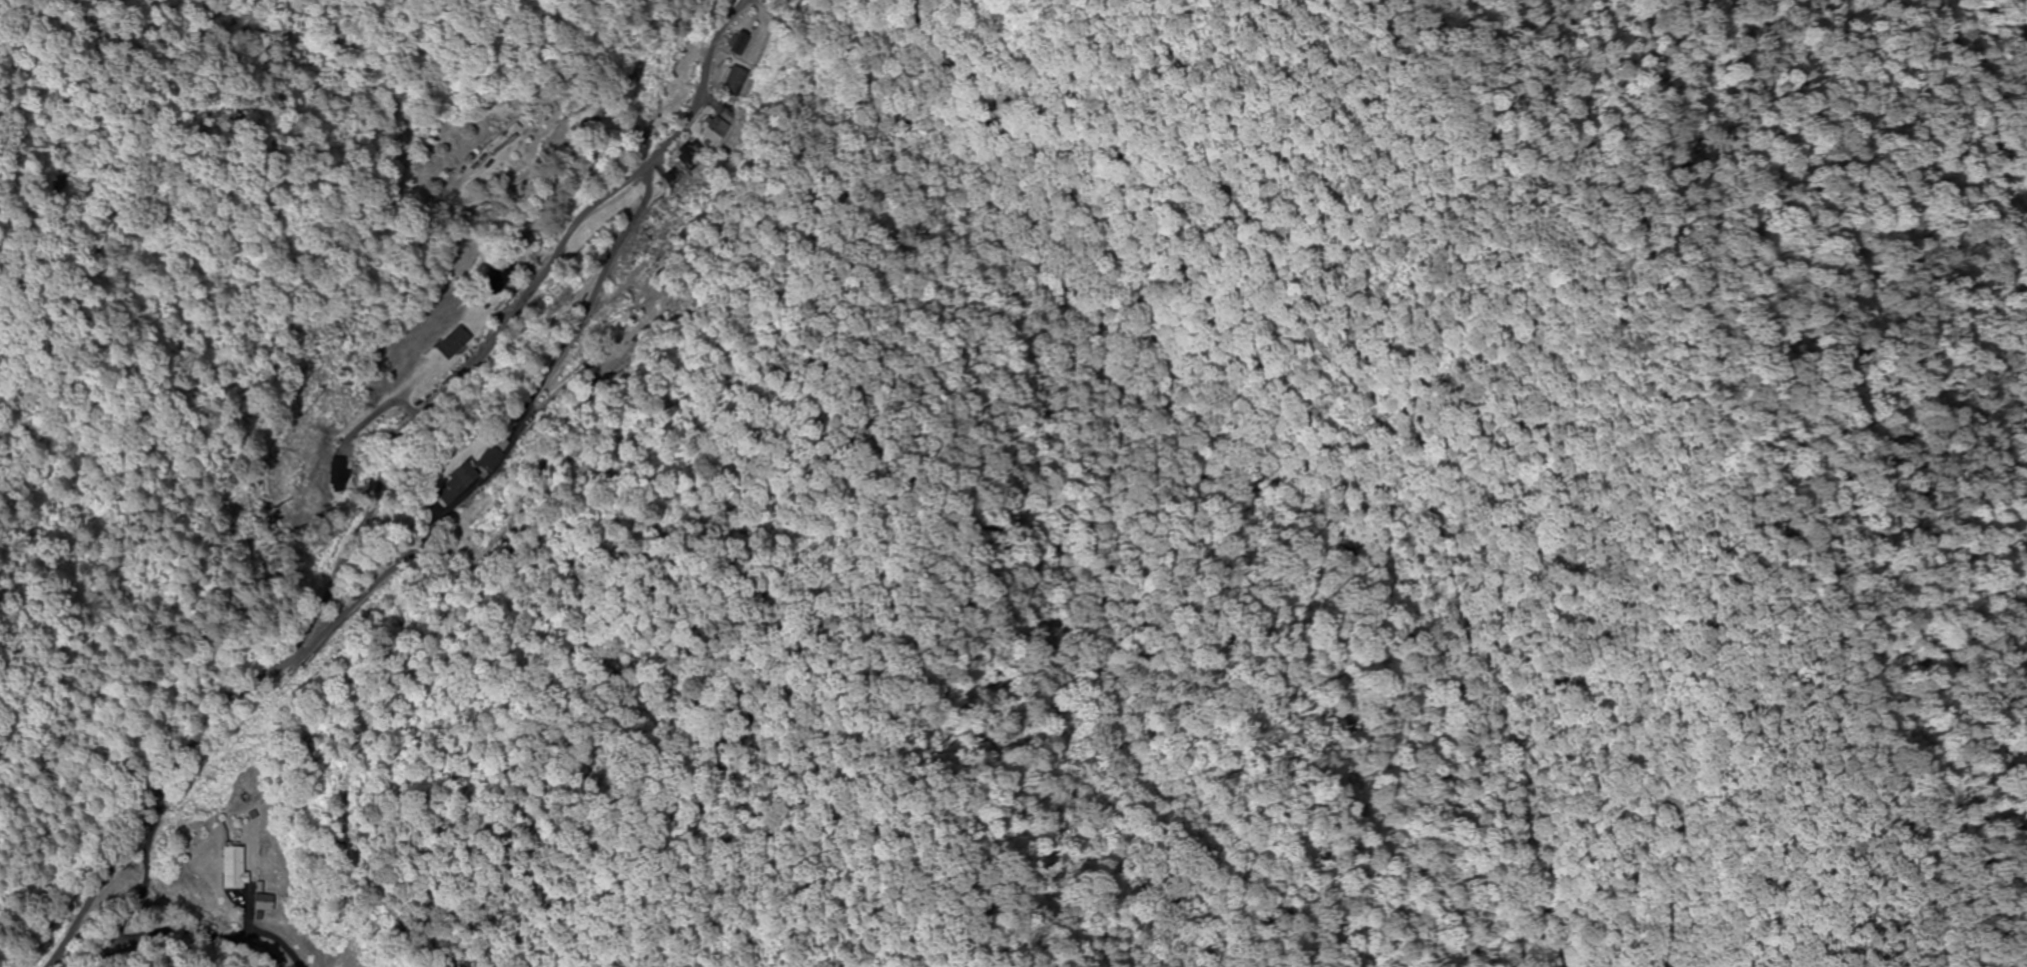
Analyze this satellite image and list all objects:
building: (736, 43)
building: (732, 81)
building: (710, 131)
building: (690, 156)
building: (671, 178)
building: (455, 344)
road: (345, 447)
building: (233, 869)

